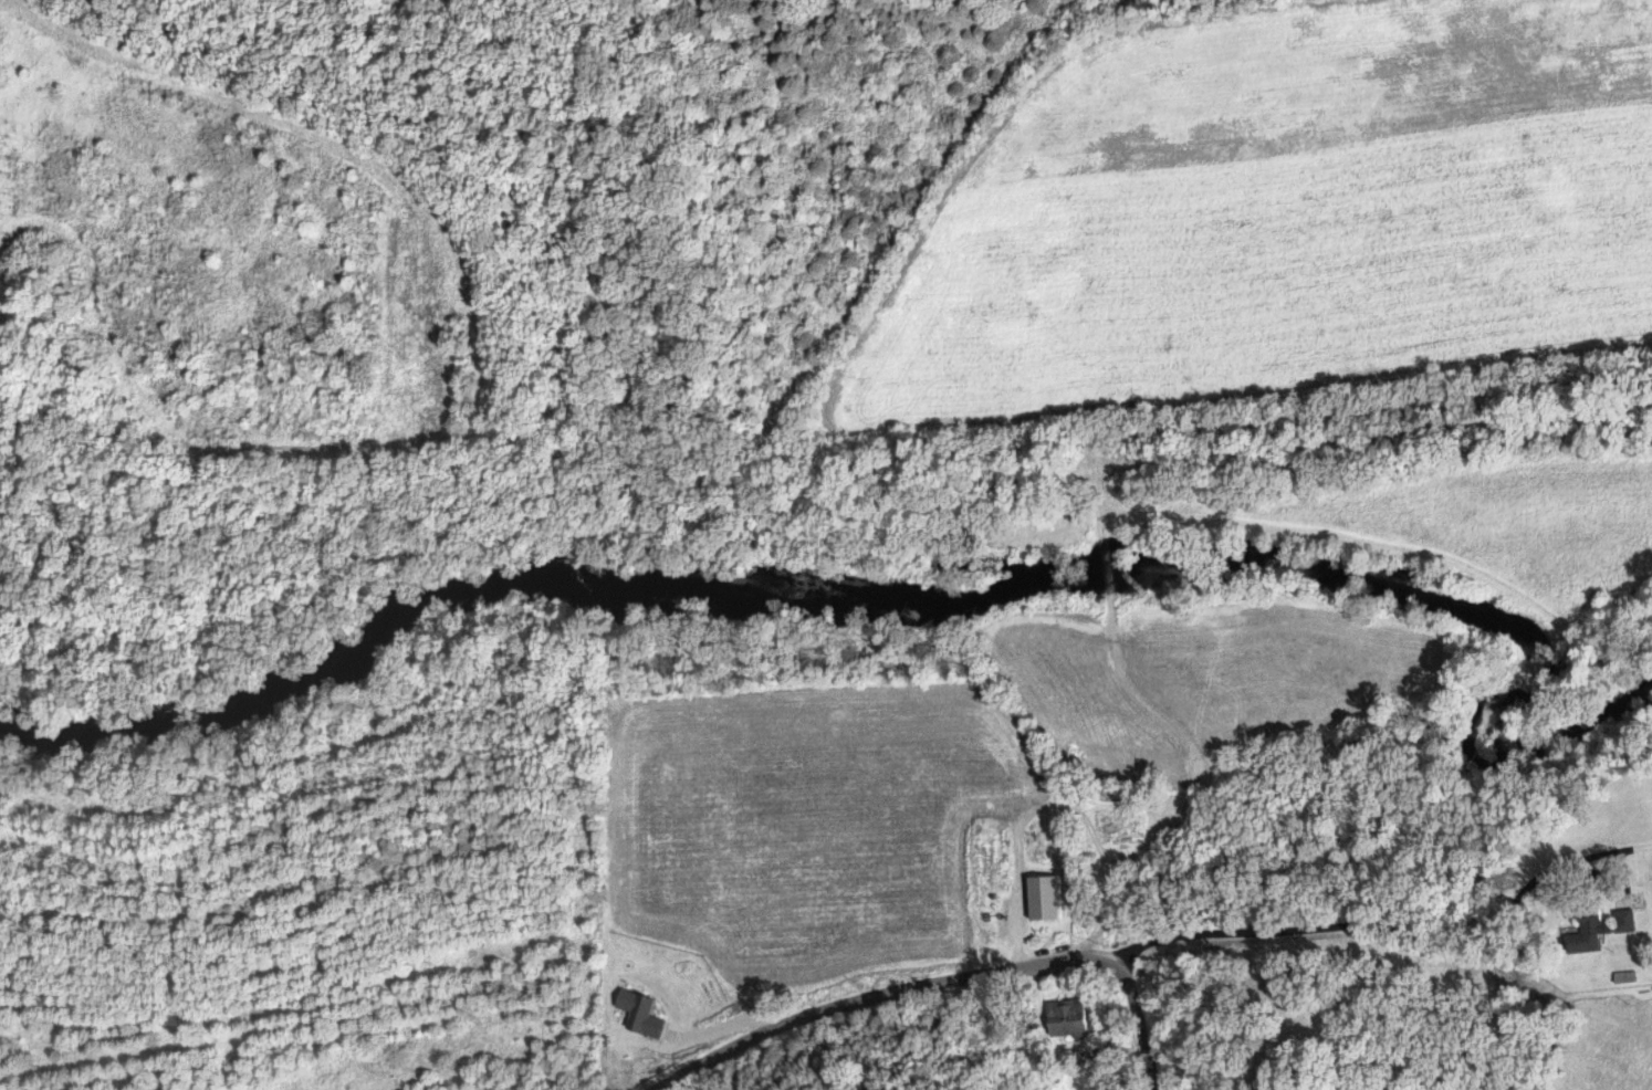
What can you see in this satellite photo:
road: (1122, 868)
building: (1037, 897)
building: (1593, 927)
road: (1405, 943)
road: (872, 987)
building: (644, 1013)
road: (1144, 1018)

